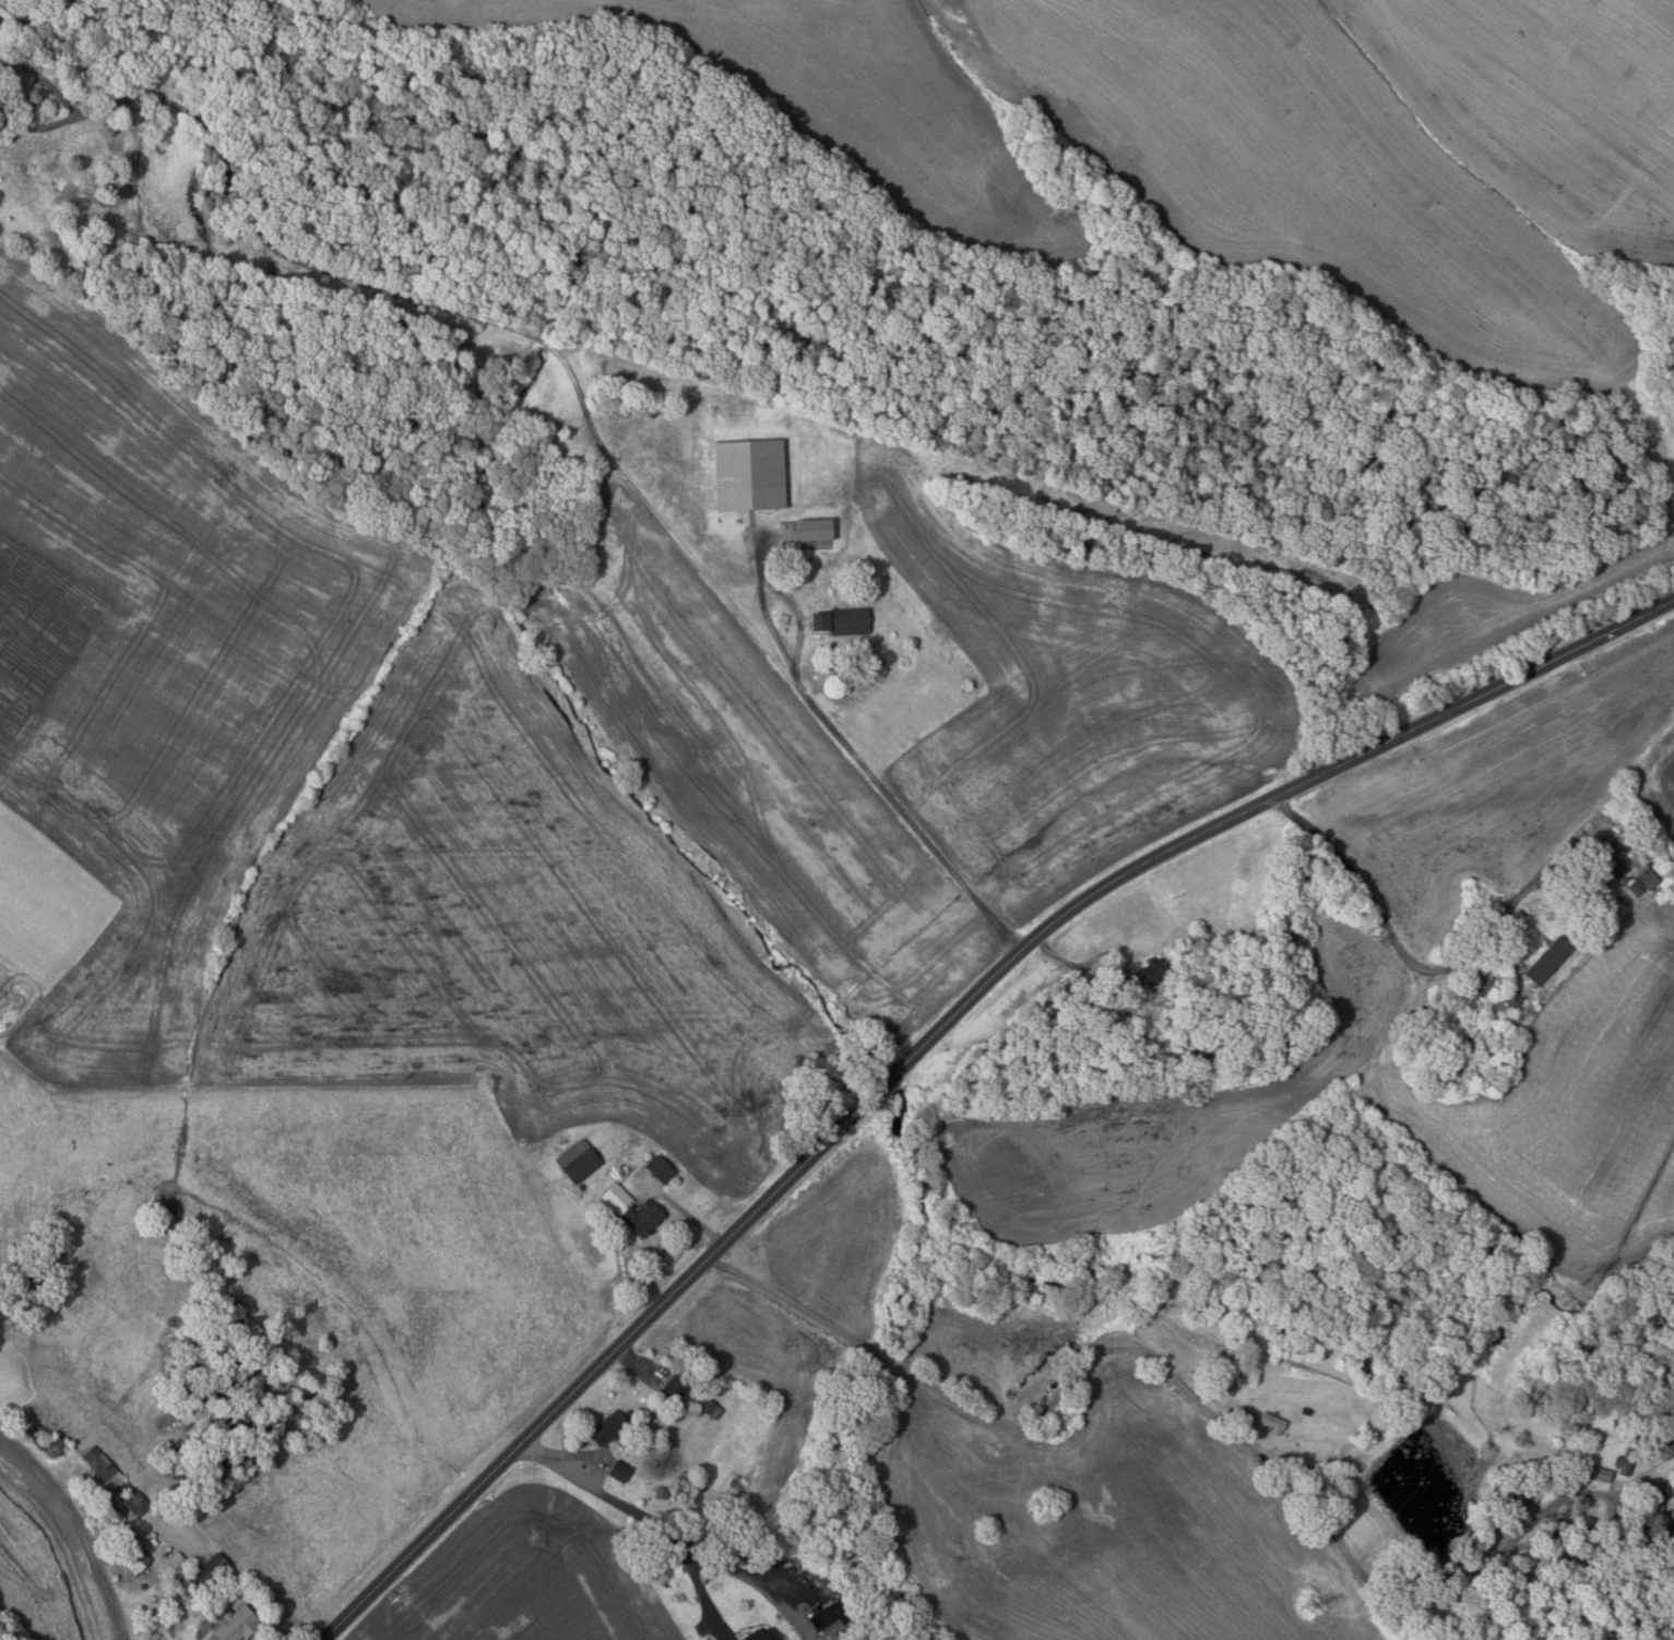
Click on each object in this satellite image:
building: (1, 21)
crop: (1243, 136)
road: (579, 389)
building: (749, 475)
building: (816, 530)
road: (765, 611)
crop: (1489, 613)
building: (842, 621)
building: (880, 662)
crop: (1070, 698)
crop: (1507, 781)
crop: (418, 793)
building: (1649, 878)
building: (1552, 914)
road: (1398, 943)
building: (1550, 960)
road: (1079, 968)
building: (1153, 970)
building: (1518, 970)
building: (1482, 993)
building: (1506, 998)
road: (934, 1033)
crop: (1520, 1100)
building: (1370, 1124)
building: (578, 1160)
building: (661, 1168)
road: (686, 1213)
building: (643, 1216)
road: (636, 1360)
road: (1163, 1367)
building: (1239, 1377)
building: (675, 1389)
building: (711, 1407)
building: (1306, 1411)
building: (1247, 1417)
building: (1273, 1421)
building: (218, 1426)
building: (608, 1428)
building: (238, 1430)
building: (55, 1446)
building: (1629, 1453)
building: (103, 1465)
building: (620, 1471)
building: (1602, 1474)
building: (1655, 1490)
building: (666, 1494)
building: (136, 1502)
building: (1521, 1507)
road: (654, 1520)
road: (81, 1525)
building: (1628, 1525)
building: (1671, 1534)
building: (153, 1541)
building: (133, 1556)
building: (176, 1559)
building: (209, 1572)
road: (699, 1581)
power tower: (1310, 1605)
building: (829, 1615)
building: (236, 1624)
building: (761, 1635)

